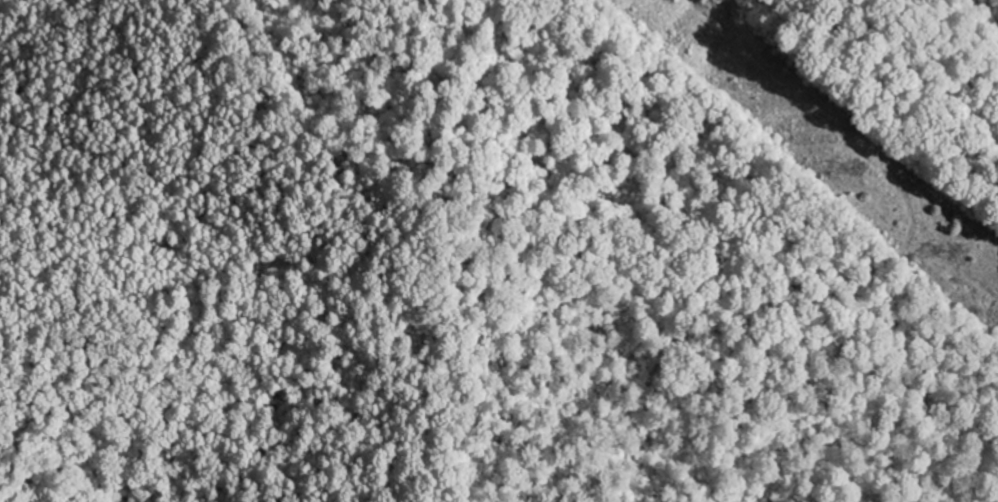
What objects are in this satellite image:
power tower: (857, 170)
power tower: (952, 253)

